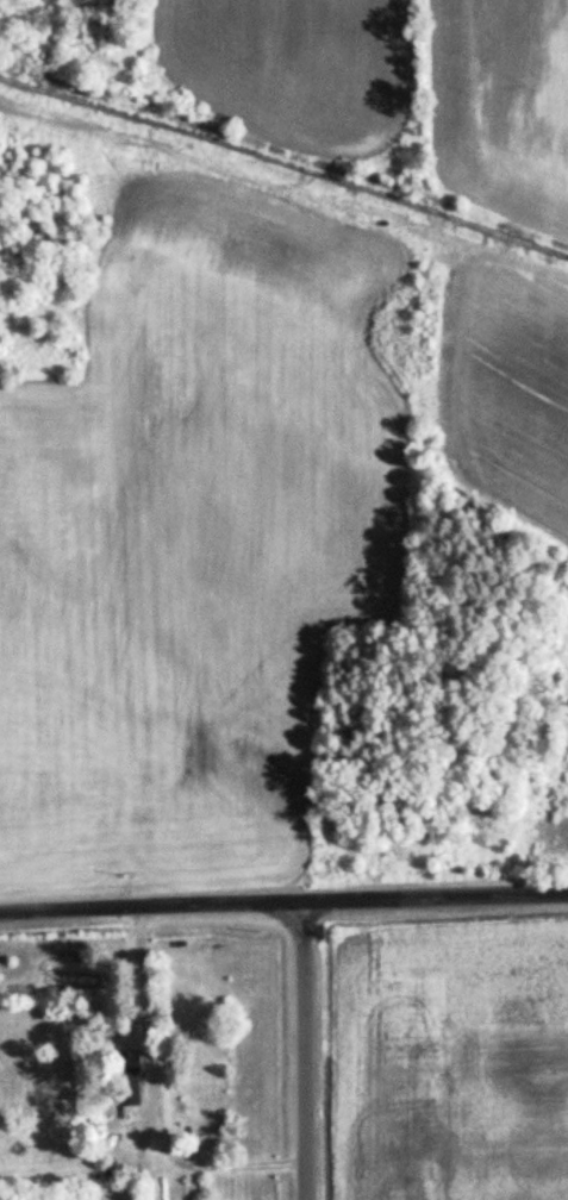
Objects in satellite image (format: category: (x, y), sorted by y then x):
road: (283, 904)
road: (139, 971)
road: (306, 1051)
building: (121, 1070)

